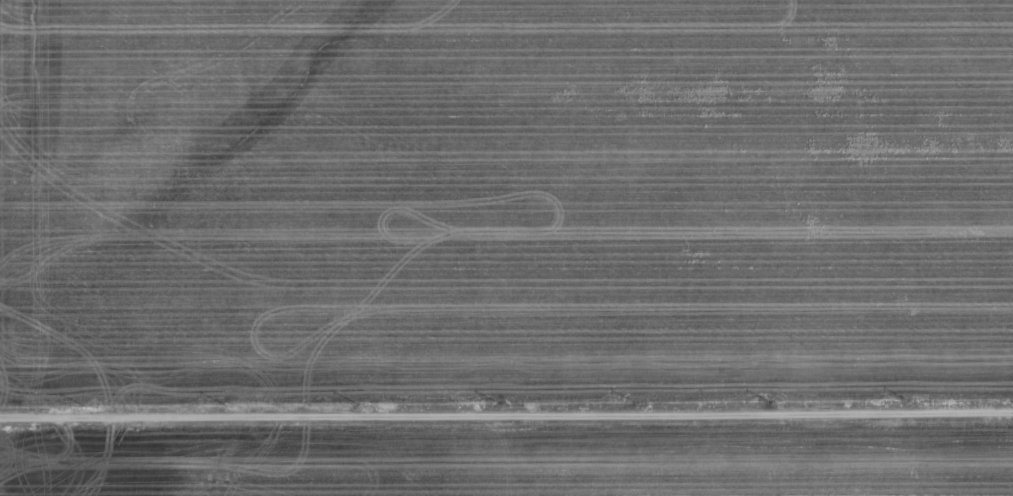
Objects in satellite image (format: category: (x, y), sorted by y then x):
road: (506, 408)

